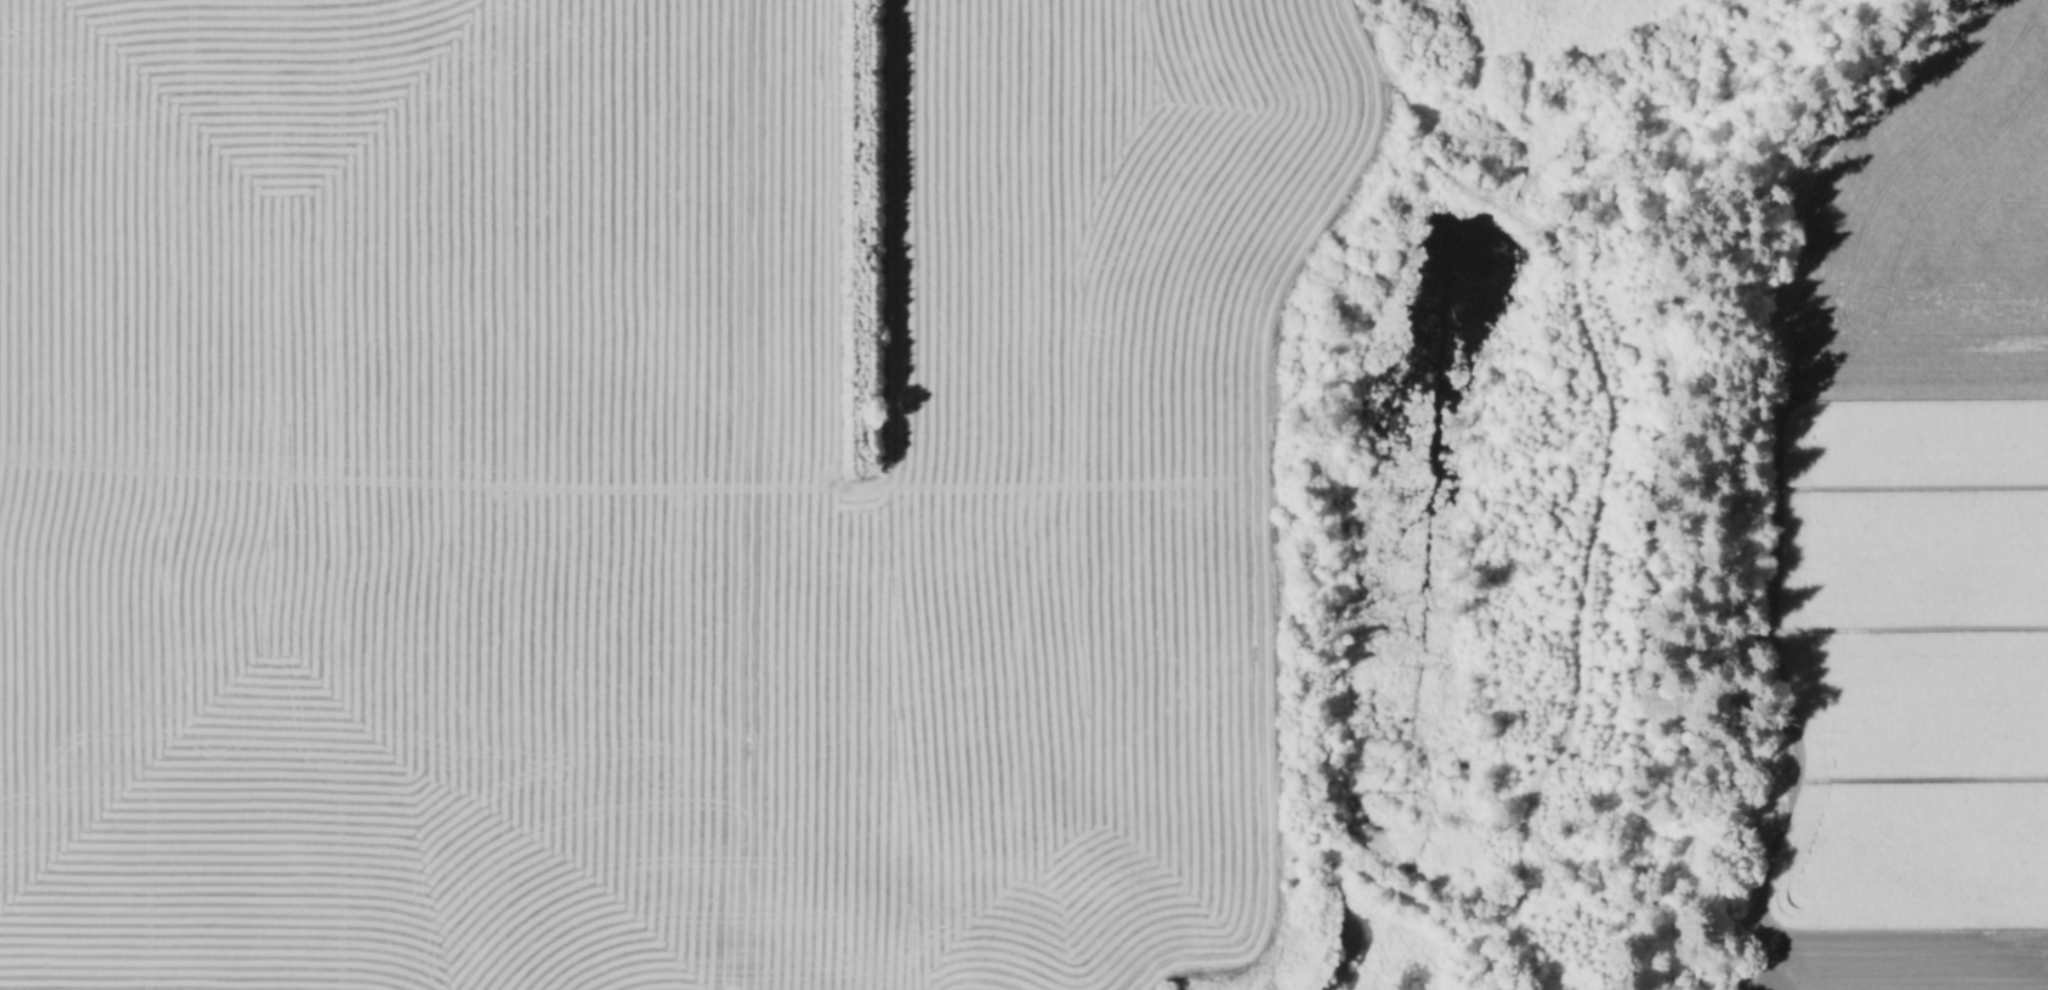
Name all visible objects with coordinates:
crop: (640, 489)

